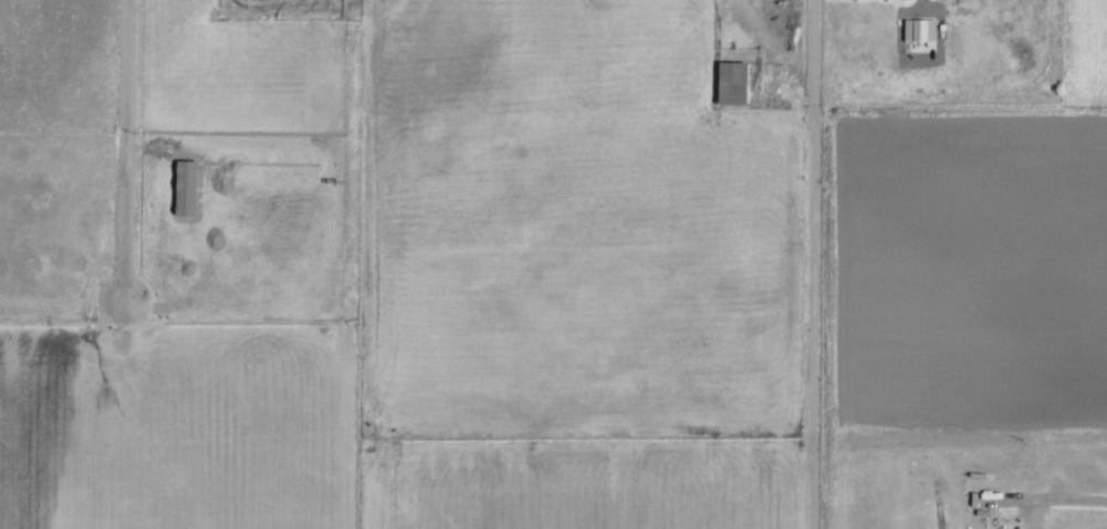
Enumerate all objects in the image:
building: (733, 83)
road: (779, 250)

